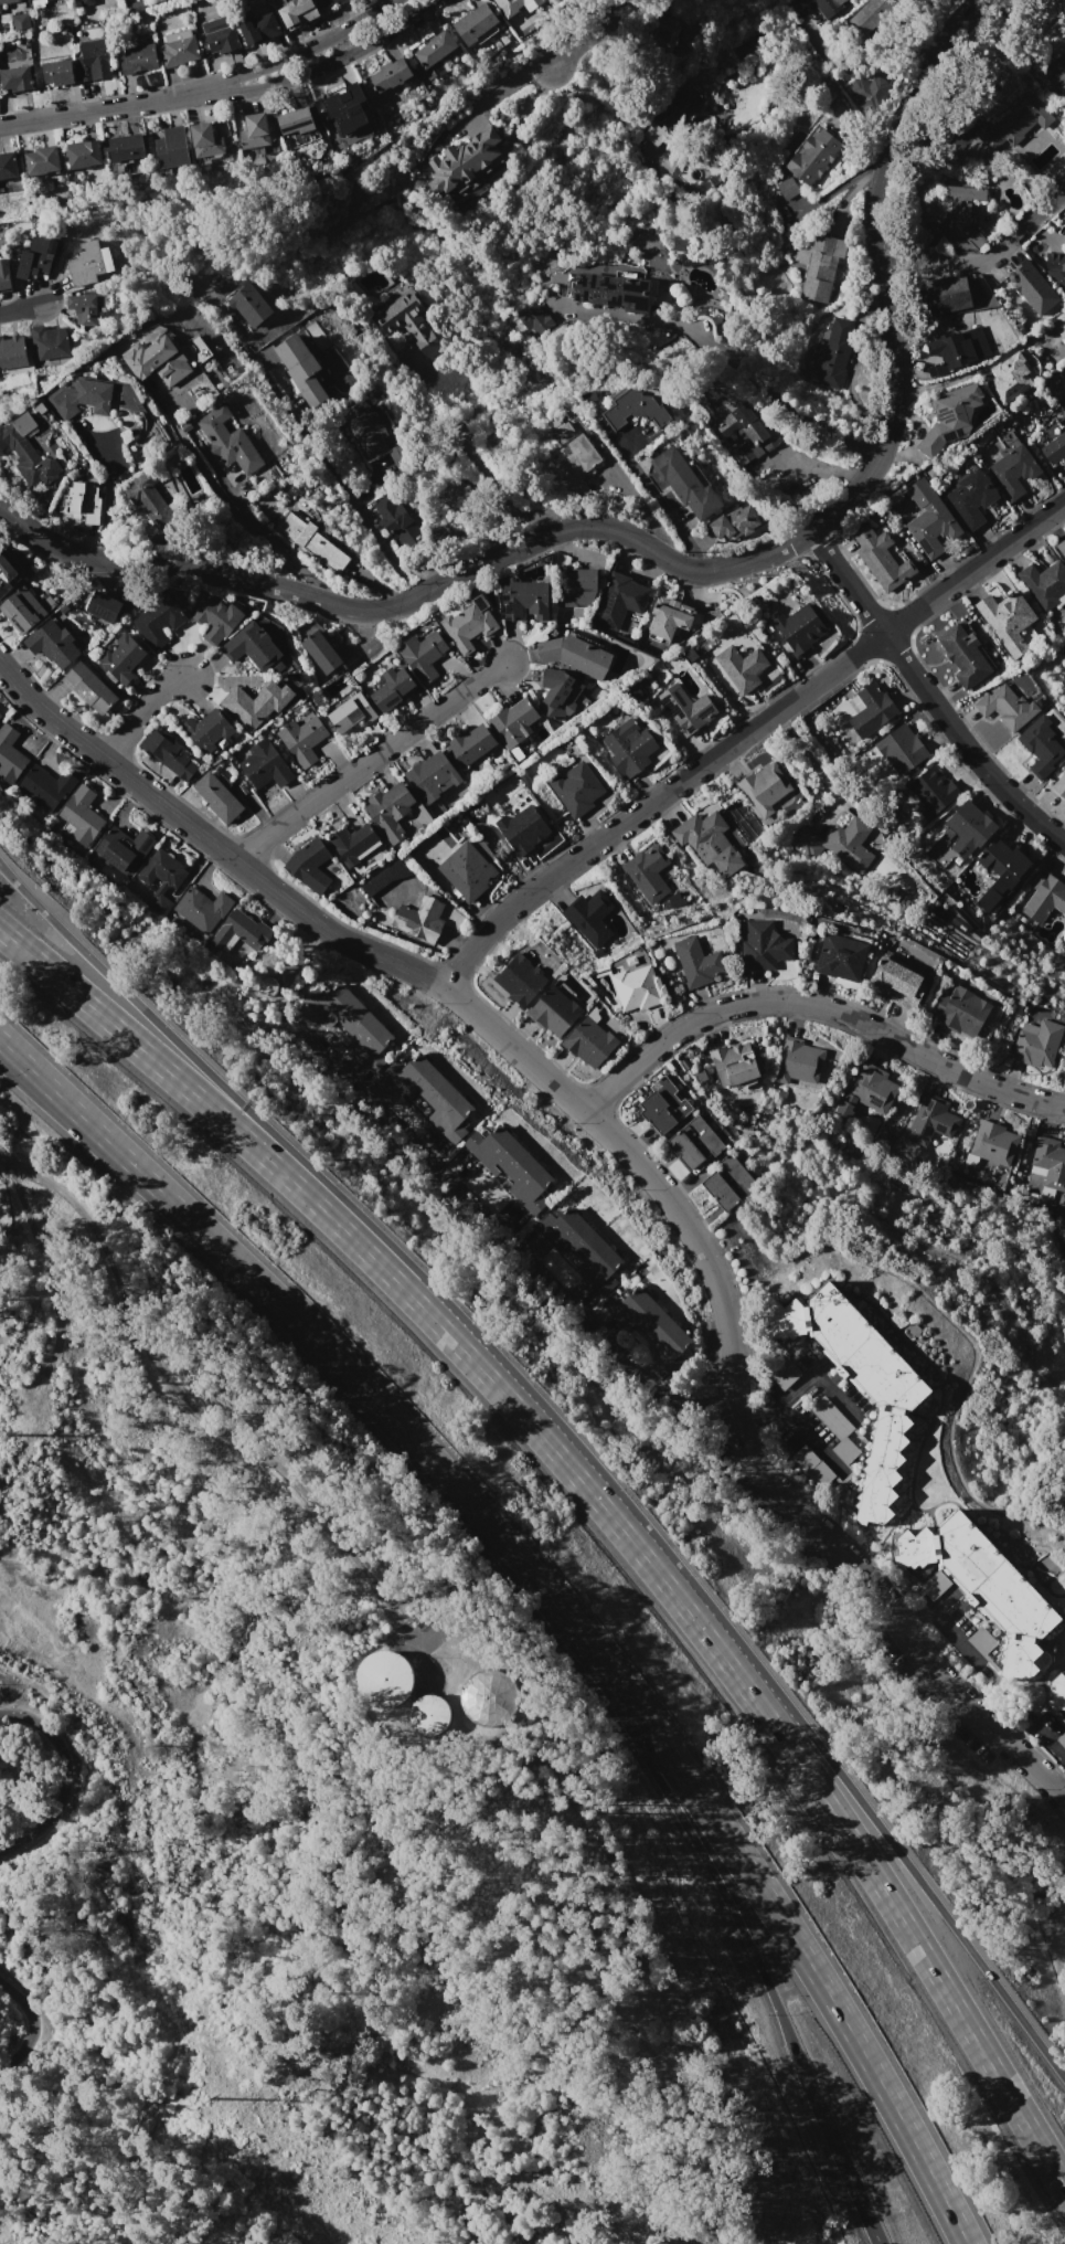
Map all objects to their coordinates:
building: (334, 0)
building: (8, 1)
building: (341, 1)
building: (35, 2)
building: (87, 2)
building: (321, 2)
building: (818, 4)
building: (513, 6)
building: (297, 13)
building: (873, 17)
building: (475, 23)
building: (258, 28)
building: (664, 31)
road: (587, 34)
building: (221, 35)
building: (179, 47)
building: (434, 49)
building: (93, 59)
building: (137, 59)
building: (1057, 71)
building: (57, 72)
road: (308, 72)
building: (390, 75)
building: (15, 78)
road: (204, 86)
road: (500, 88)
building: (867, 92)
building: (344, 98)
building: (680, 108)
building: (295, 120)
building: (1014, 121)
building: (254, 131)
building: (204, 141)
building: (125, 147)
building: (171, 147)
building: (84, 154)
building: (813, 155)
building: (459, 159)
building: (42, 160)
building: (8, 165)
road: (840, 183)
building: (787, 188)
building: (960, 216)
building: (1061, 255)
building: (36, 256)
road: (982, 261)
building: (85, 264)
building: (821, 268)
building: (4, 274)
building: (1031, 288)
building: (942, 295)
building: (246, 301)
building: (579, 304)
building: (84, 306)
road: (20, 309)
building: (404, 319)
building: (1058, 325)
building: (45, 341)
building: (837, 348)
building: (948, 350)
building: (12, 352)
building: (292, 357)
building: (161, 358)
building: (1009, 379)
road: (763, 387)
building: (312, 393)
building: (82, 398)
building: (586, 398)
building: (1063, 403)
building: (633, 410)
building: (950, 416)
building: (364, 430)
building: (563, 431)
building: (746, 433)
building: (227, 443)
building: (1054, 447)
building: (26, 457)
road: (324, 459)
building: (577, 465)
building: (1013, 470)
road: (210, 480)
road: (488, 481)
building: (684, 483)
building: (454, 495)
building: (970, 496)
building: (148, 499)
building: (81, 501)
building: (388, 517)
building: (930, 520)
building: (735, 521)
building: (436, 534)
road: (277, 540)
building: (310, 543)
building: (1062, 547)
building: (881, 558)
road: (680, 567)
building: (6, 576)
building: (1043, 583)
building: (574, 586)
building: (618, 599)
building: (522, 601)
building: (106, 604)
building: (20, 610)
building: (1002, 613)
building: (668, 616)
building: (214, 617)
building: (157, 620)
building: (467, 625)
building: (799, 627)
building: (50, 644)
building: (249, 646)
building: (319, 652)
building: (420, 655)
building: (572, 655)
building: (961, 655)
building: (120, 659)
building: (739, 667)
building: (87, 688)
building: (390, 688)
building: (556, 694)
road: (927, 695)
building: (254, 703)
building: (1004, 708)
building: (686, 709)
building: (870, 710)
road: (140, 712)
building: (0, 715)
building: (349, 716)
building: (512, 721)
building: (205, 728)
road: (743, 734)
building: (299, 740)
building: (468, 744)
building: (1040, 745)
building: (627, 748)
building: (899, 750)
building: (167, 754)
building: (8, 755)
road: (369, 760)
road: (810, 760)
building: (263, 765)
building: (430, 776)
building: (1058, 785)
building: (42, 787)
building: (575, 788)
building: (763, 788)
building: (929, 791)
building: (215, 798)
building: (387, 811)
building: (78, 816)
building: (521, 828)
building: (965, 828)
building: (701, 835)
building: (352, 844)
building: (848, 844)
building: (121, 849)
building: (307, 866)
building: (1001, 866)
building: (646, 872)
building: (466, 875)
building: (383, 877)
building: (159, 879)
building: (1043, 897)
building: (199, 908)
building: (587, 918)
building: (417, 920)
building: (235, 931)
building: (764, 944)
building: (838, 956)
building: (696, 961)
building: (518, 981)
building: (894, 983)
building: (633, 985)
road: (817, 1005)
building: (551, 1013)
building: (958, 1014)
building: (352, 1026)
road: (177, 1042)
building: (586, 1044)
building: (1033, 1049)
building: (731, 1062)
building: (798, 1062)
road: (173, 1078)
building: (871, 1088)
road: (52, 1090)
road: (52, 1097)
building: (430, 1097)
building: (659, 1108)
building: (933, 1124)
building: (992, 1141)
building: (692, 1146)
road: (631, 1157)
building: (1047, 1161)
building: (509, 1168)
building: (725, 1184)
road: (500, 1236)
building: (581, 1250)
road: (50, 1285)
building: (651, 1330)
road: (476, 1364)
building: (784, 1375)
road: (350, 1376)
road: (801, 1383)
building: (859, 1389)
road: (834, 1395)
road: (195, 1405)
road: (757, 1418)
building: (833, 1429)
power tower: (14, 1433)
road: (811, 1439)
building: (810, 1465)
building: (981, 1584)
building: (933, 1585)
road: (913, 1622)
building: (981, 1642)
building: (383, 1680)
storage tank: (383, 1680)
road: (995, 1685)
building: (1058, 1691)
building: (489, 1697)
storage tank: (489, 1697)
building: (427, 1714)
storage tank: (427, 1714)
building: (1063, 1738)
road: (845, 1779)
road: (64, 1781)
road: (1059, 1785)
road: (848, 1837)
road: (785, 1928)
road: (744, 1930)
road: (560, 1949)
road: (22, 2030)
power tower: (213, 2098)

